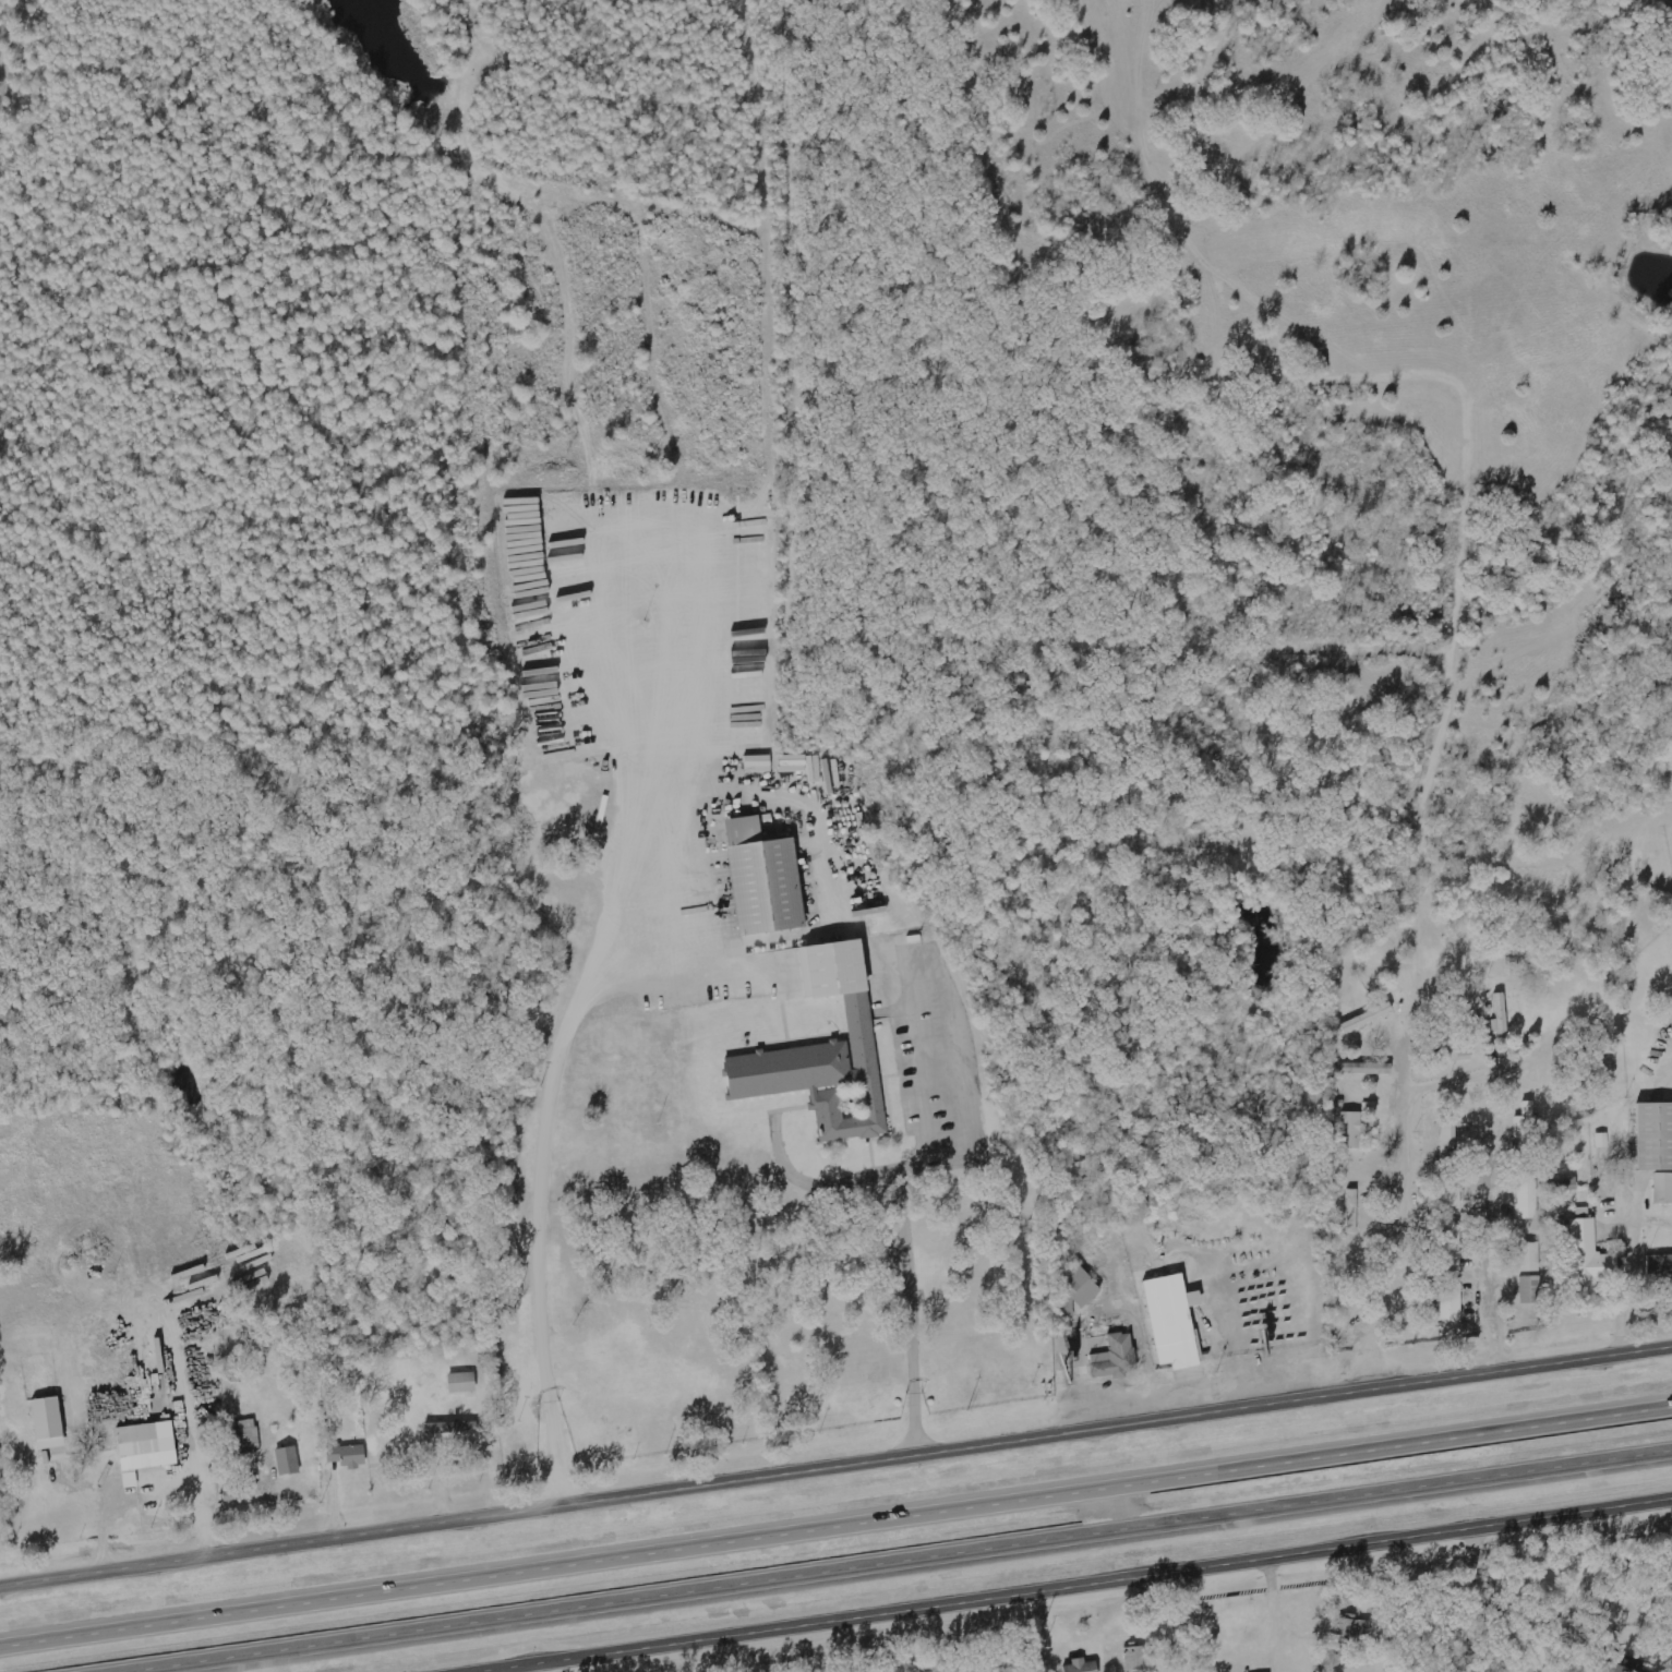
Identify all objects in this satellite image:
building: (759, 763)
building: (766, 876)
building: (1502, 1017)
building: (1352, 1024)
building: (828, 1051)
building: (1455, 1056)
building: (1527, 1124)
building: (1354, 1129)
building: (1656, 1136)
building: (1663, 1188)
building: (1452, 1192)
building: (1528, 1198)
building: (1354, 1211)
building: (1452, 1247)
building: (1530, 1256)
building: (1591, 1259)
road: (1628, 1265)
building: (1670, 1279)
building: (1081, 1286)
building: (1531, 1289)
building: (1453, 1301)
building: (1175, 1321)
building: (1115, 1358)
building: (464, 1381)
building: (50, 1421)
building: (453, 1427)
building: (248, 1432)
building: (147, 1447)
building: (349, 1454)
building: (289, 1459)
road: (835, 1459)
road: (835, 1517)
road: (881, 1557)
road: (1058, 1585)
building: (1354, 1626)
building: (1136, 1657)
building: (1083, 1665)

